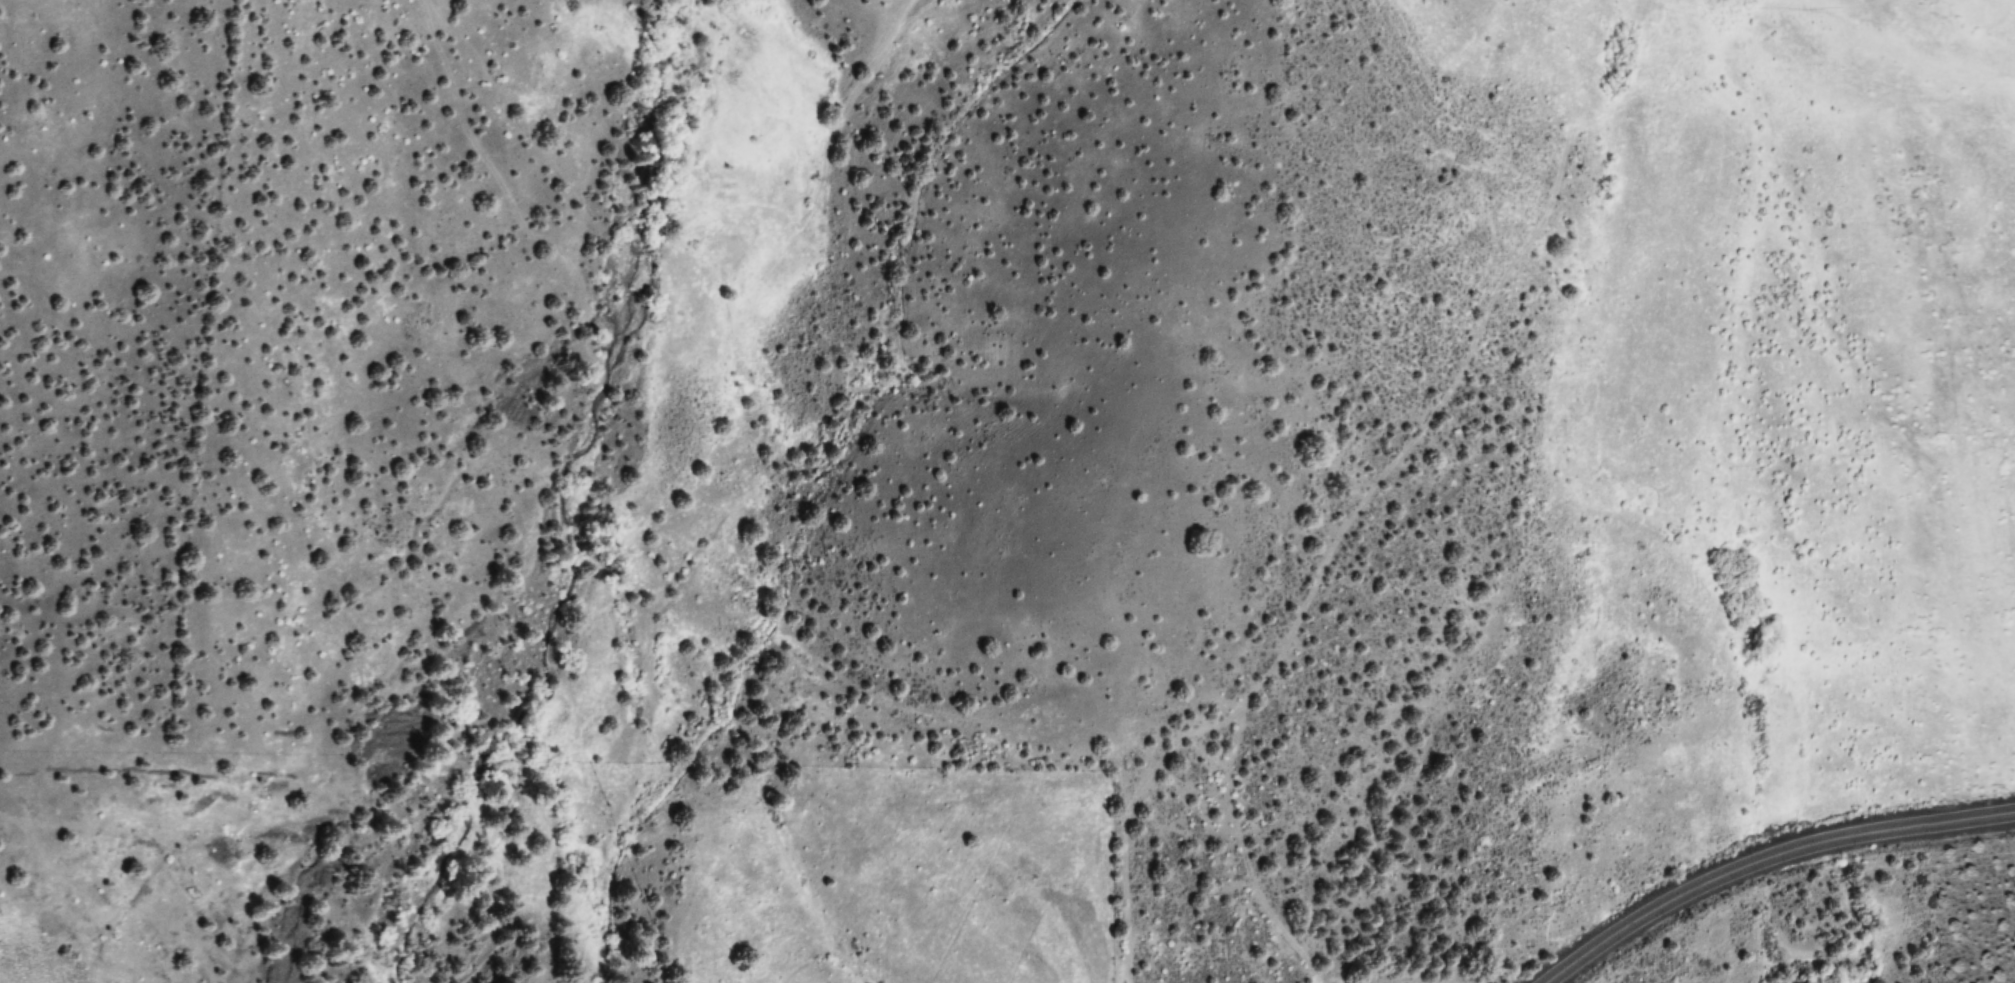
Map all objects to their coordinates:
road: (1766, 861)

